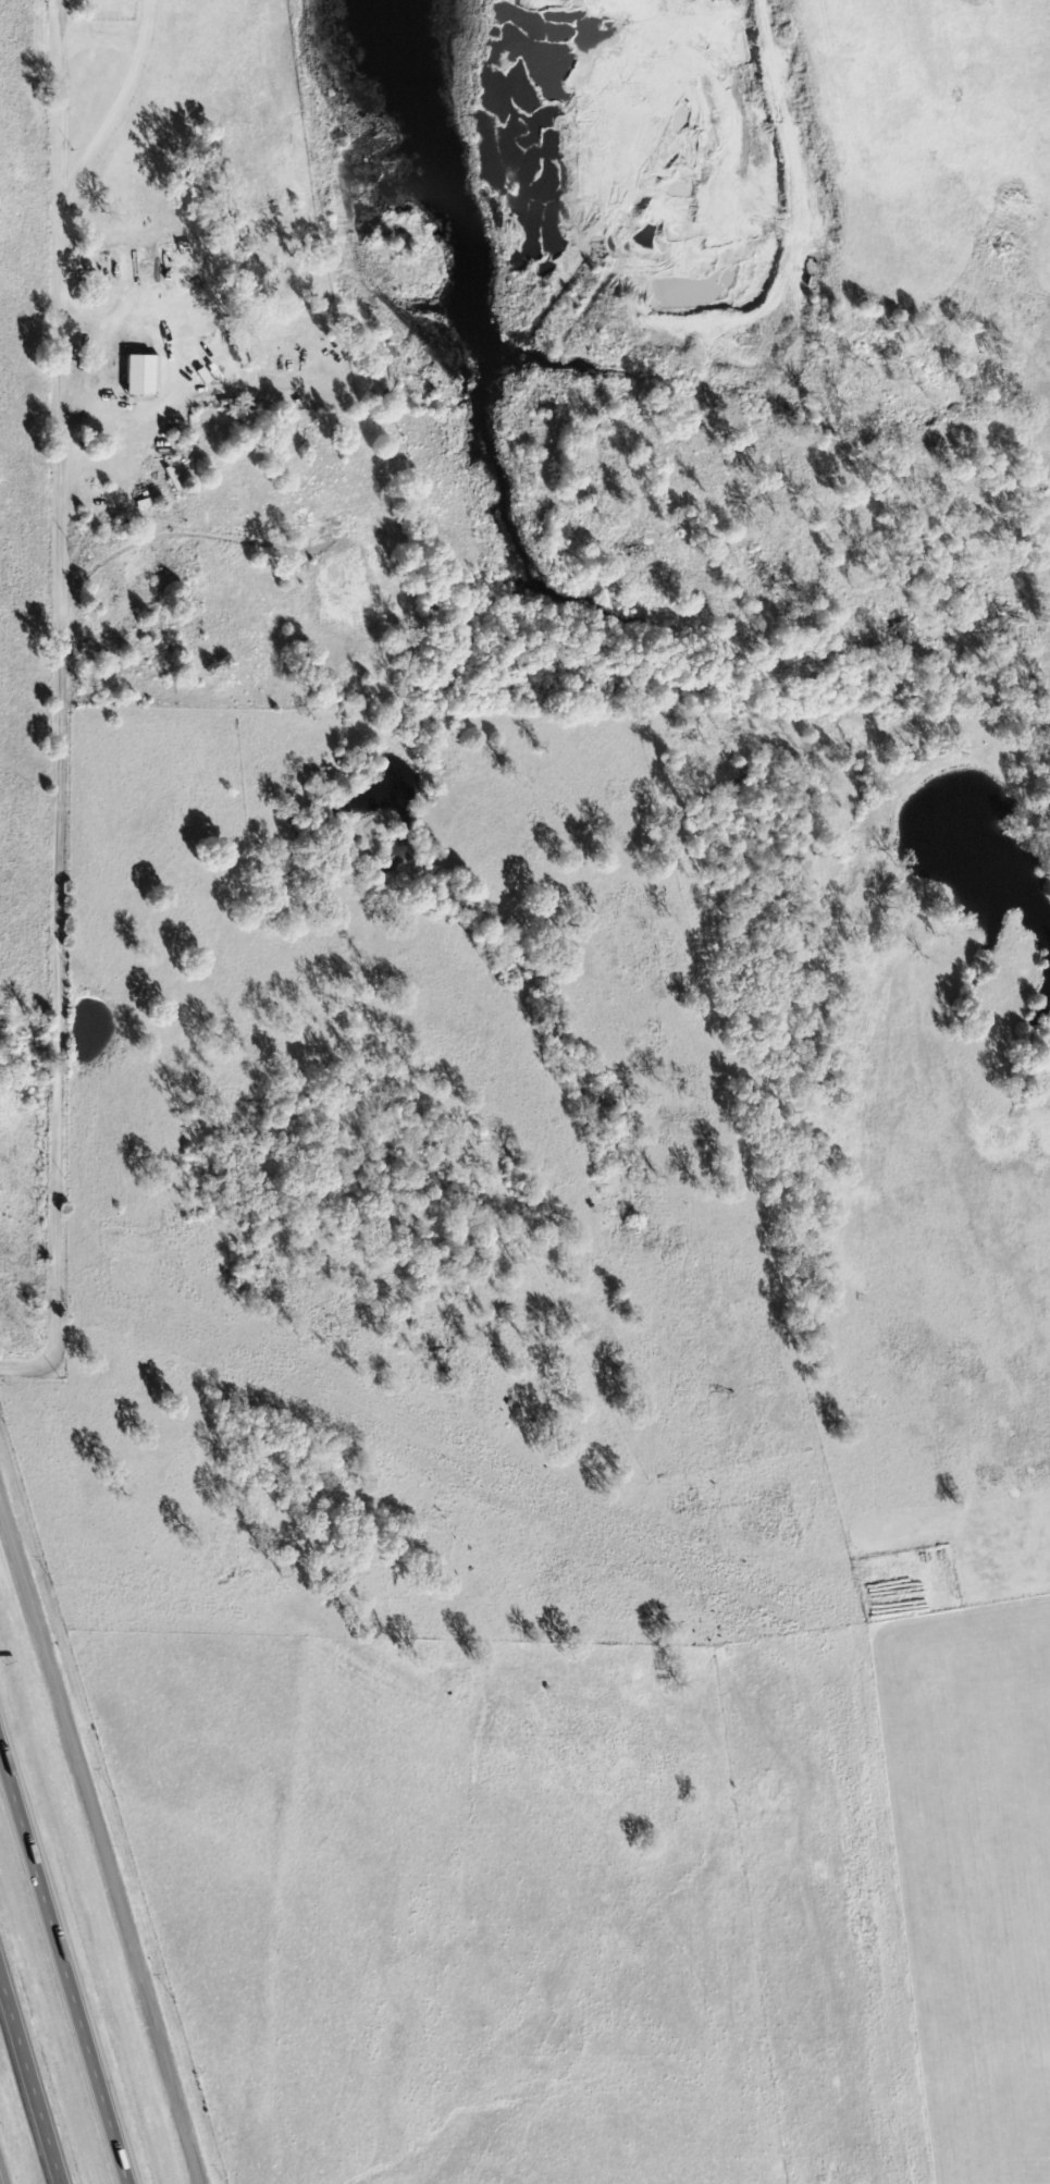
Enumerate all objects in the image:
building: (143, 371)
building: (201, 377)
road: (62, 692)
road: (99, 1845)
road: (63, 1965)
road: (34, 2069)
road: (1, 2180)

